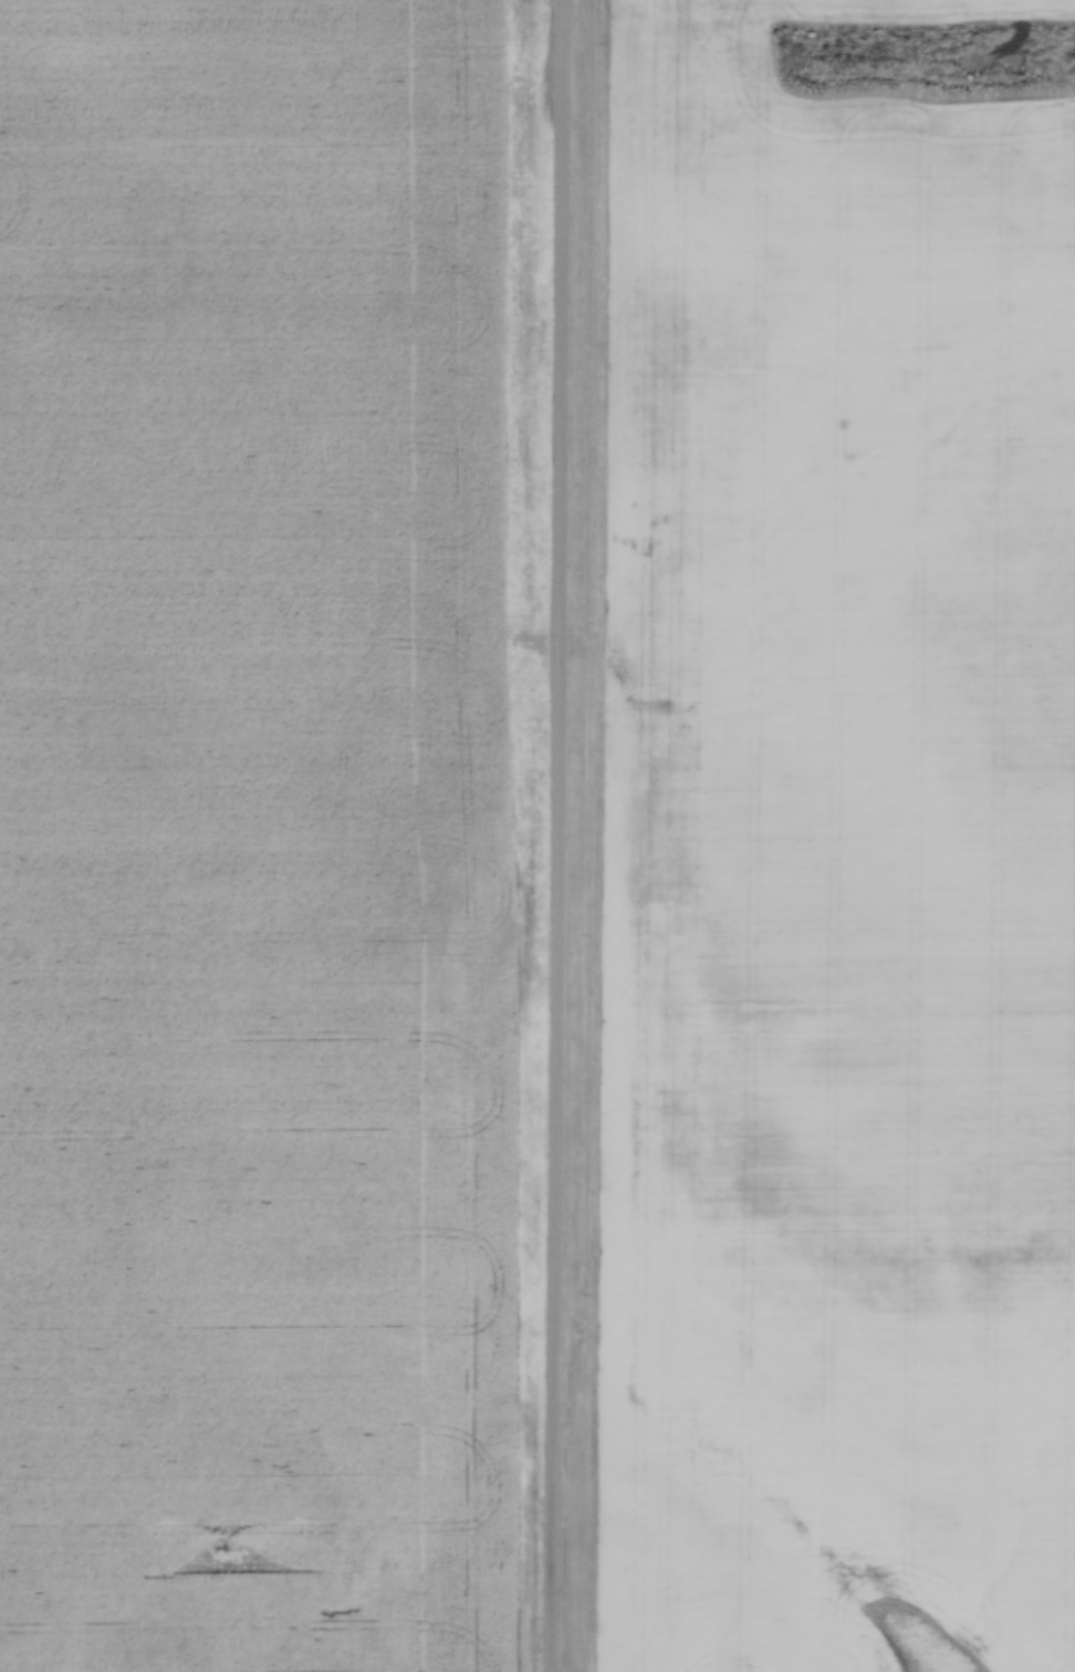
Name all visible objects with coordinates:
road: (557, 835)

